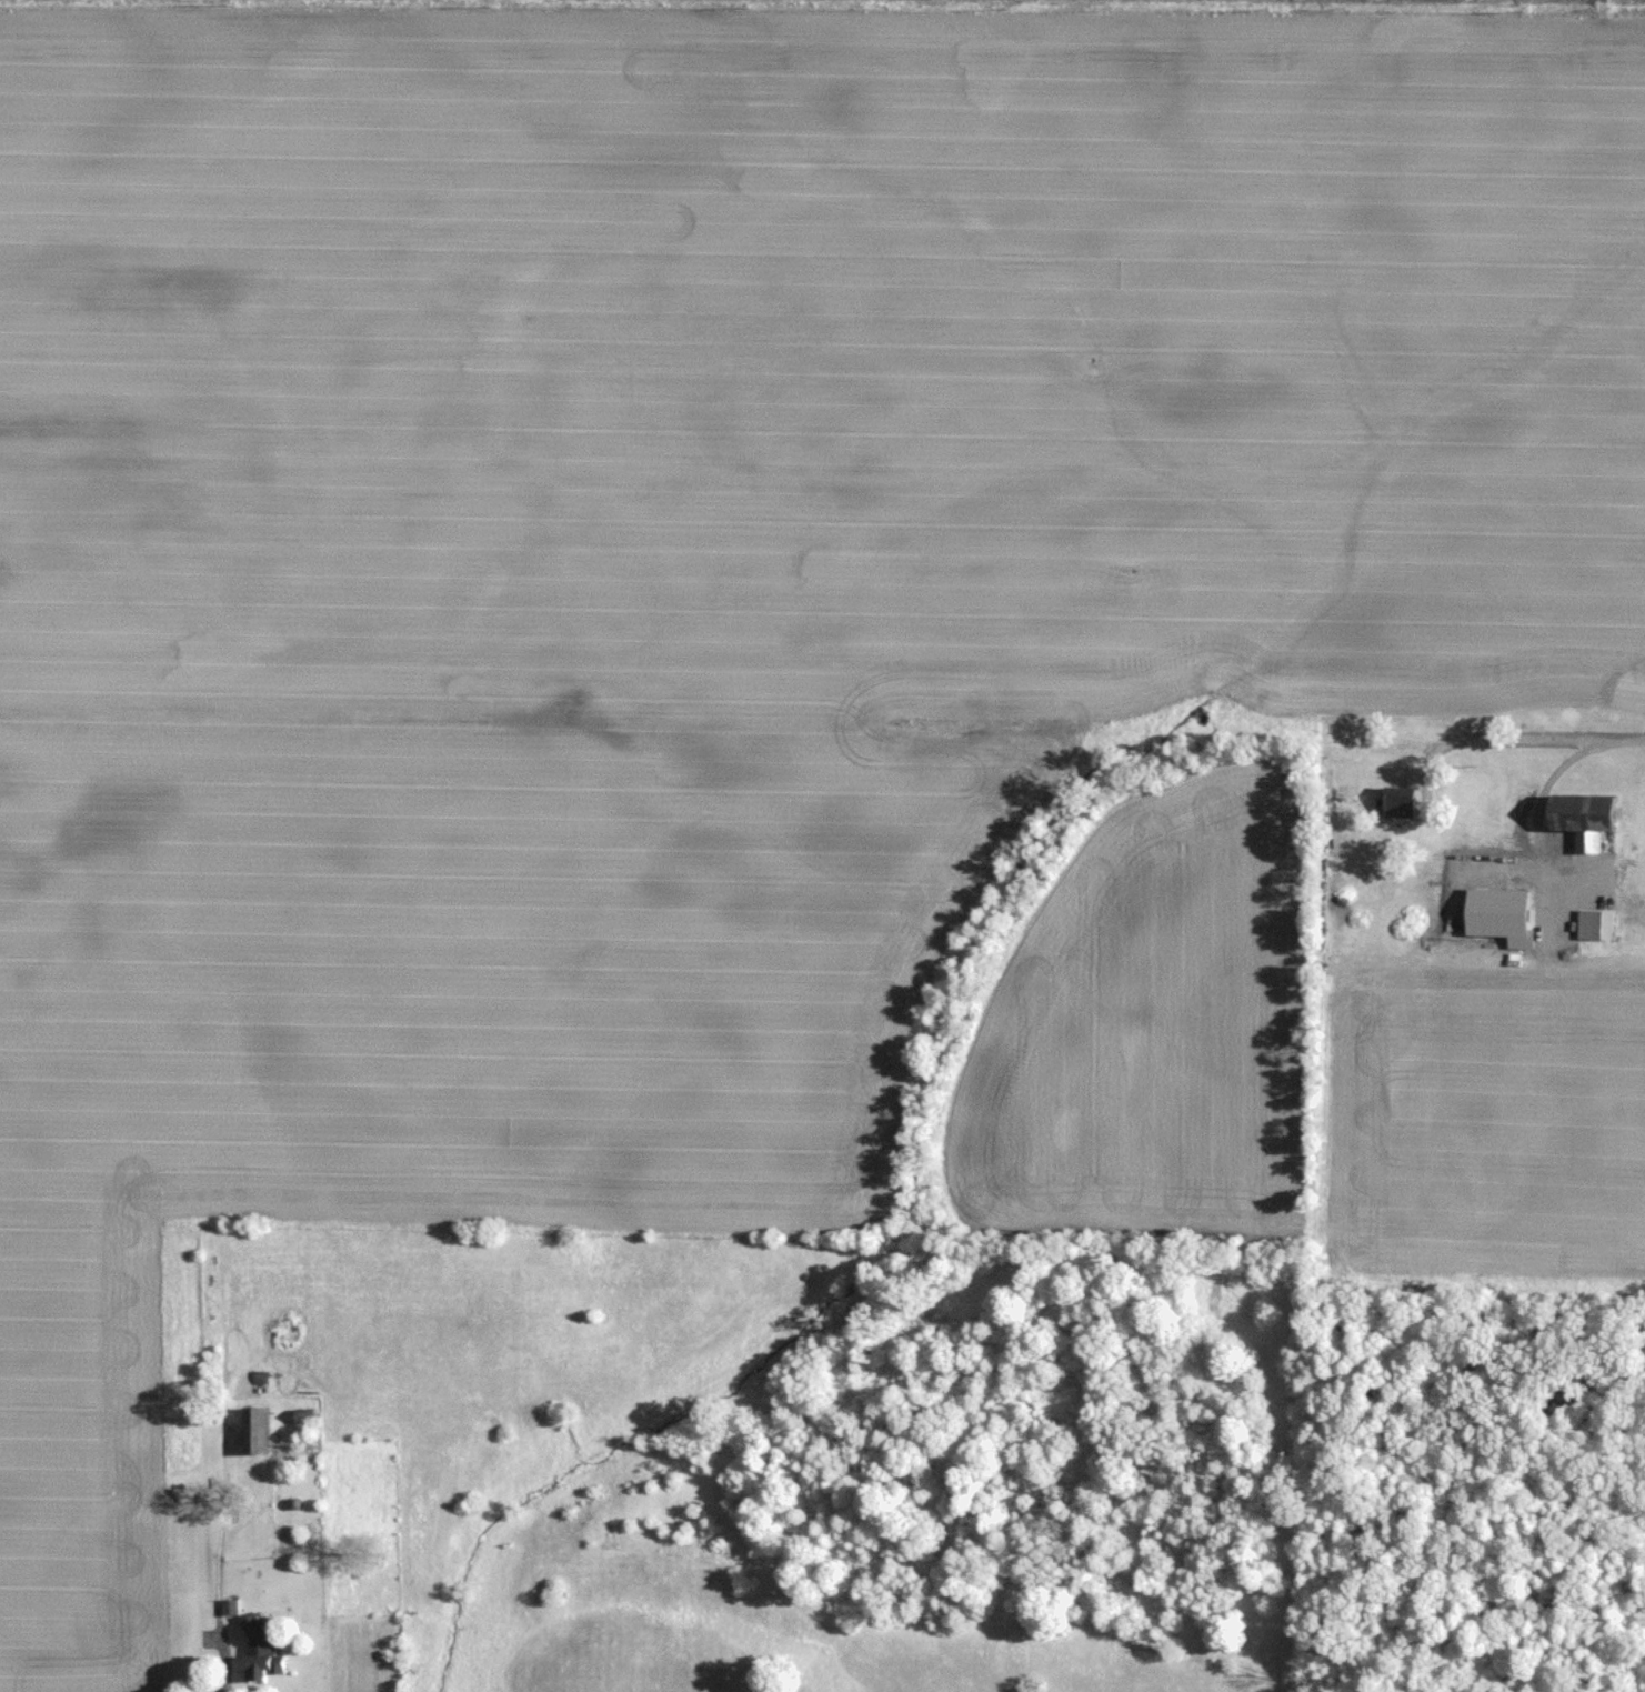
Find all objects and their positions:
road: (1579, 751)
building: (1592, 814)
building: (1534, 923)
building: (260, 1430)
building: (264, 1648)

